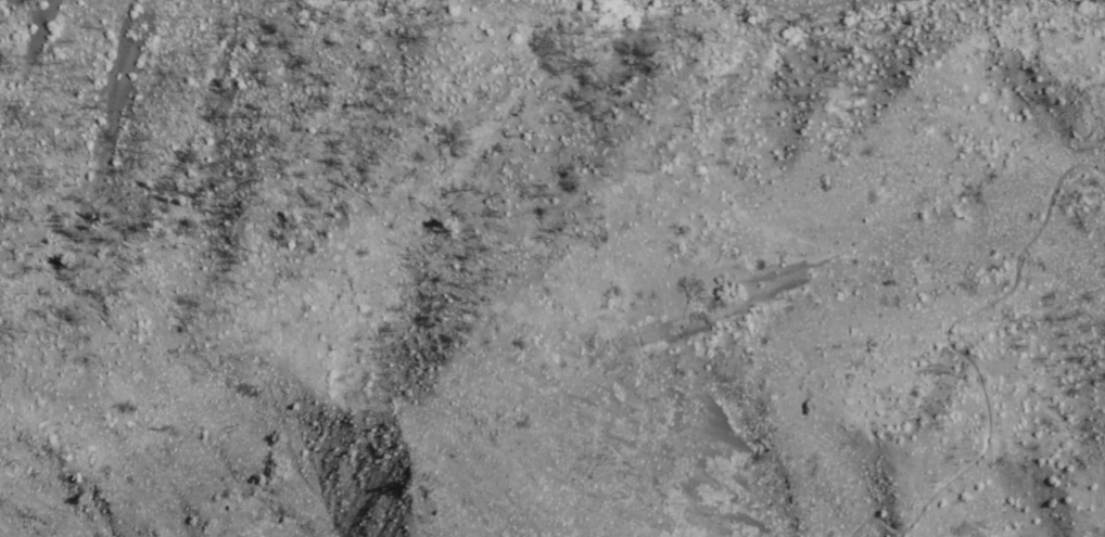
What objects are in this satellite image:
road: (785, 9)
road: (961, 354)

